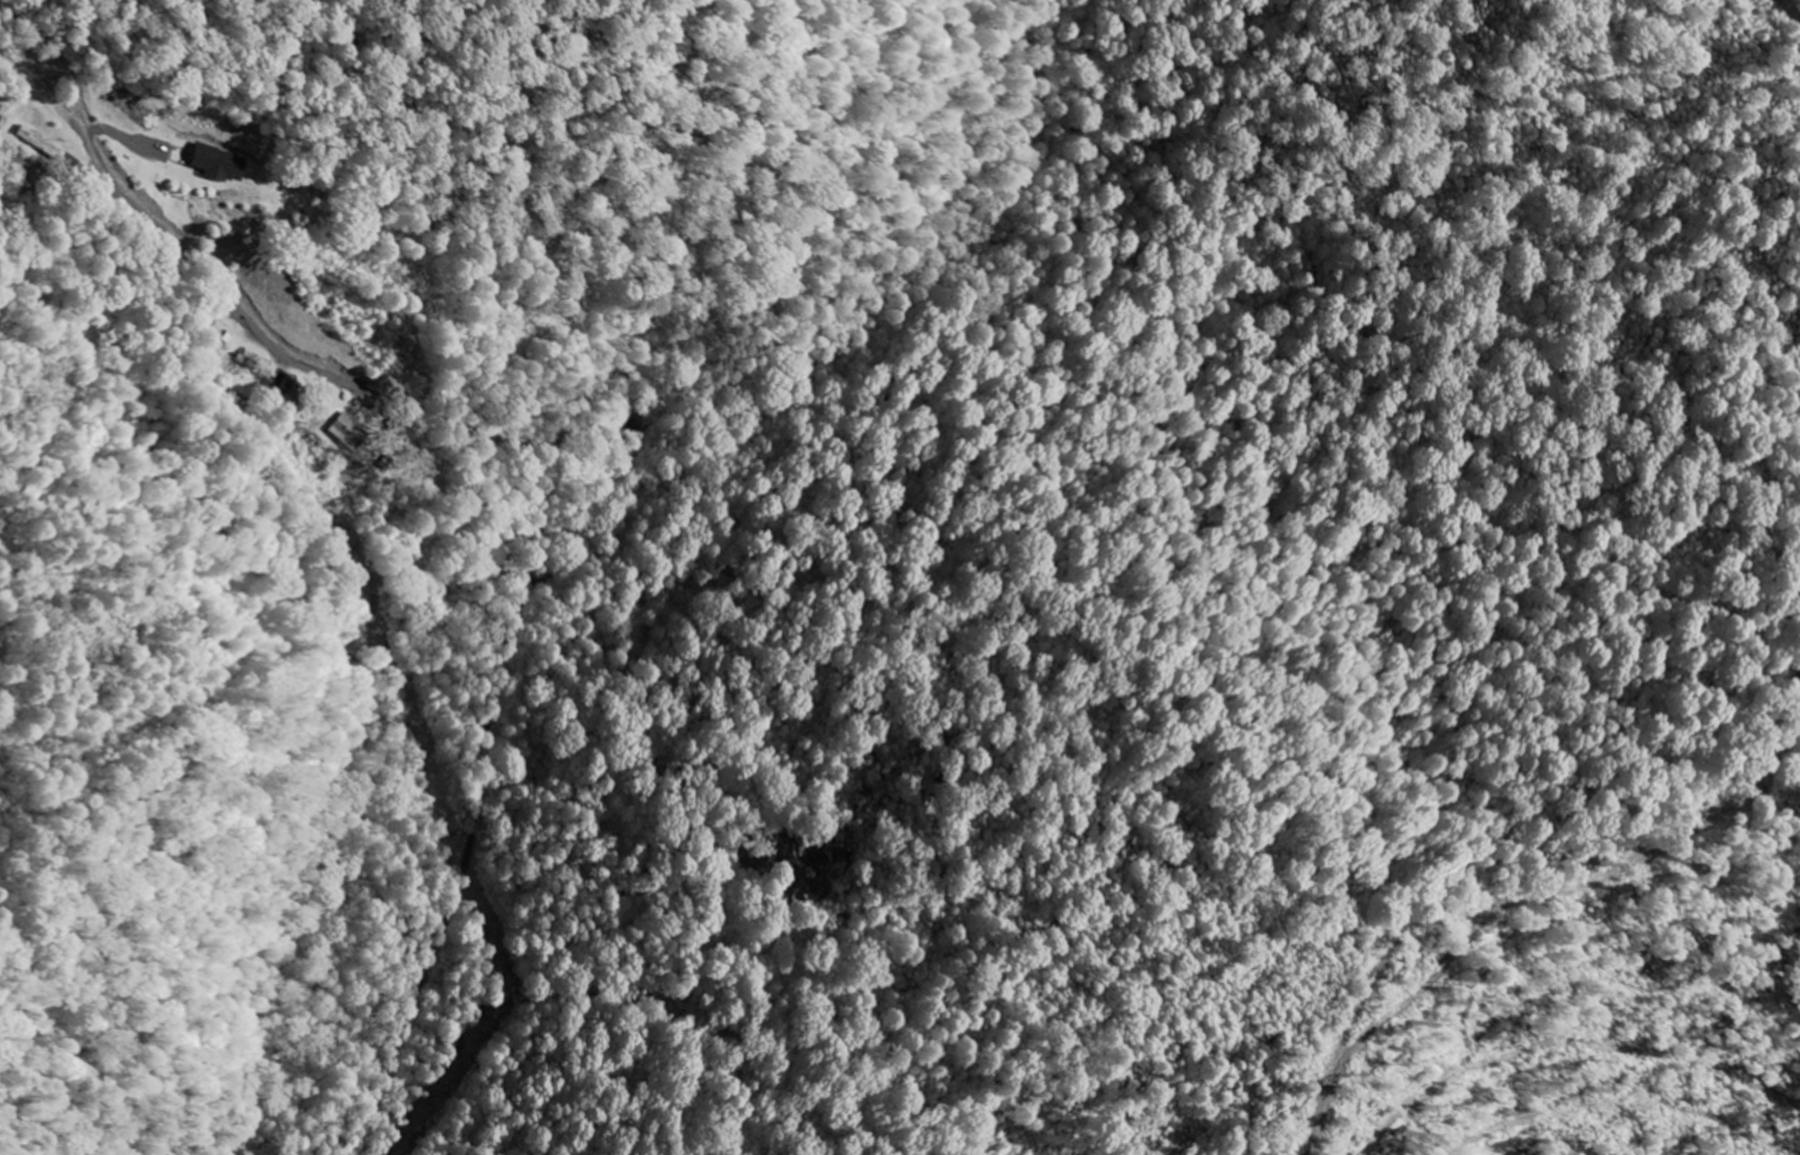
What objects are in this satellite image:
building: (37, 147)
building: (217, 164)
building: (243, 358)
road: (616, 423)
building: (346, 432)

